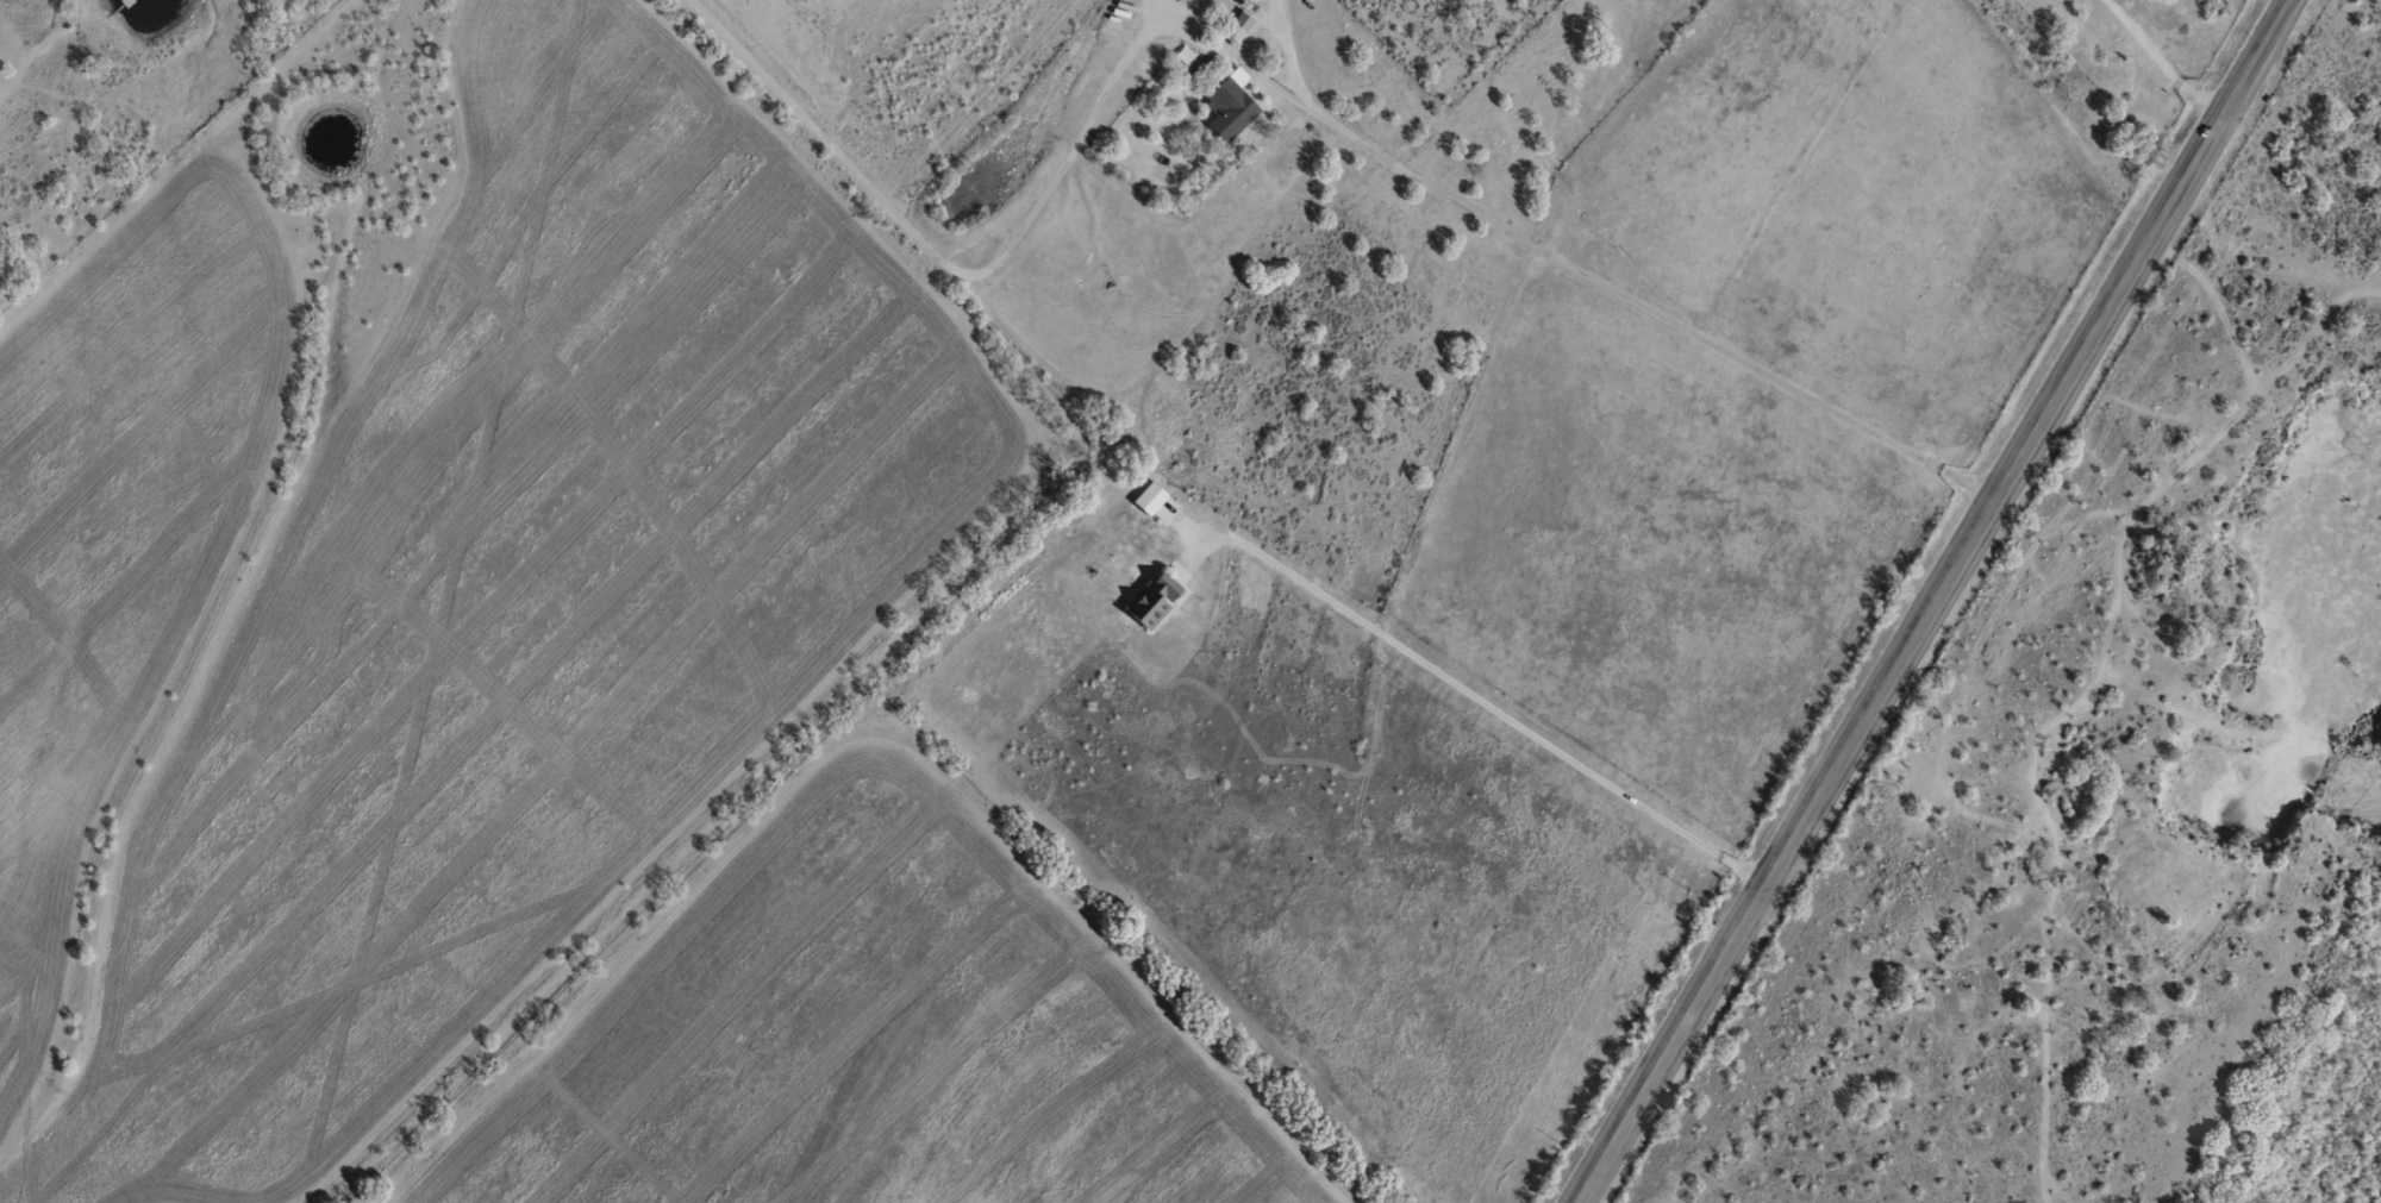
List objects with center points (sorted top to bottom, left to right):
building: (1180, 0)
building: (1238, 25)
building: (1229, 108)
road: (2031, 189)
building: (1149, 497)
building: (1152, 596)
crop: (425, 599)
road: (1929, 601)
road: (1848, 910)
crop: (875, 1039)

